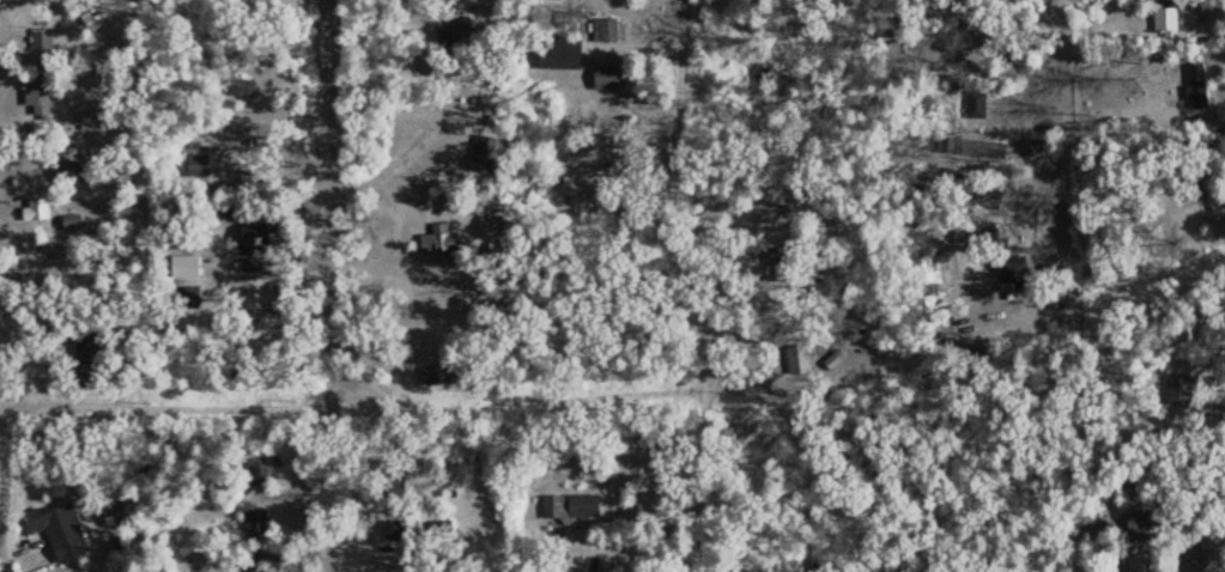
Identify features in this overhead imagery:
building: (607, 78)
road: (0, 98)
building: (41, 98)
building: (40, 209)
road: (1092, 286)
road: (238, 294)
building: (120, 511)

